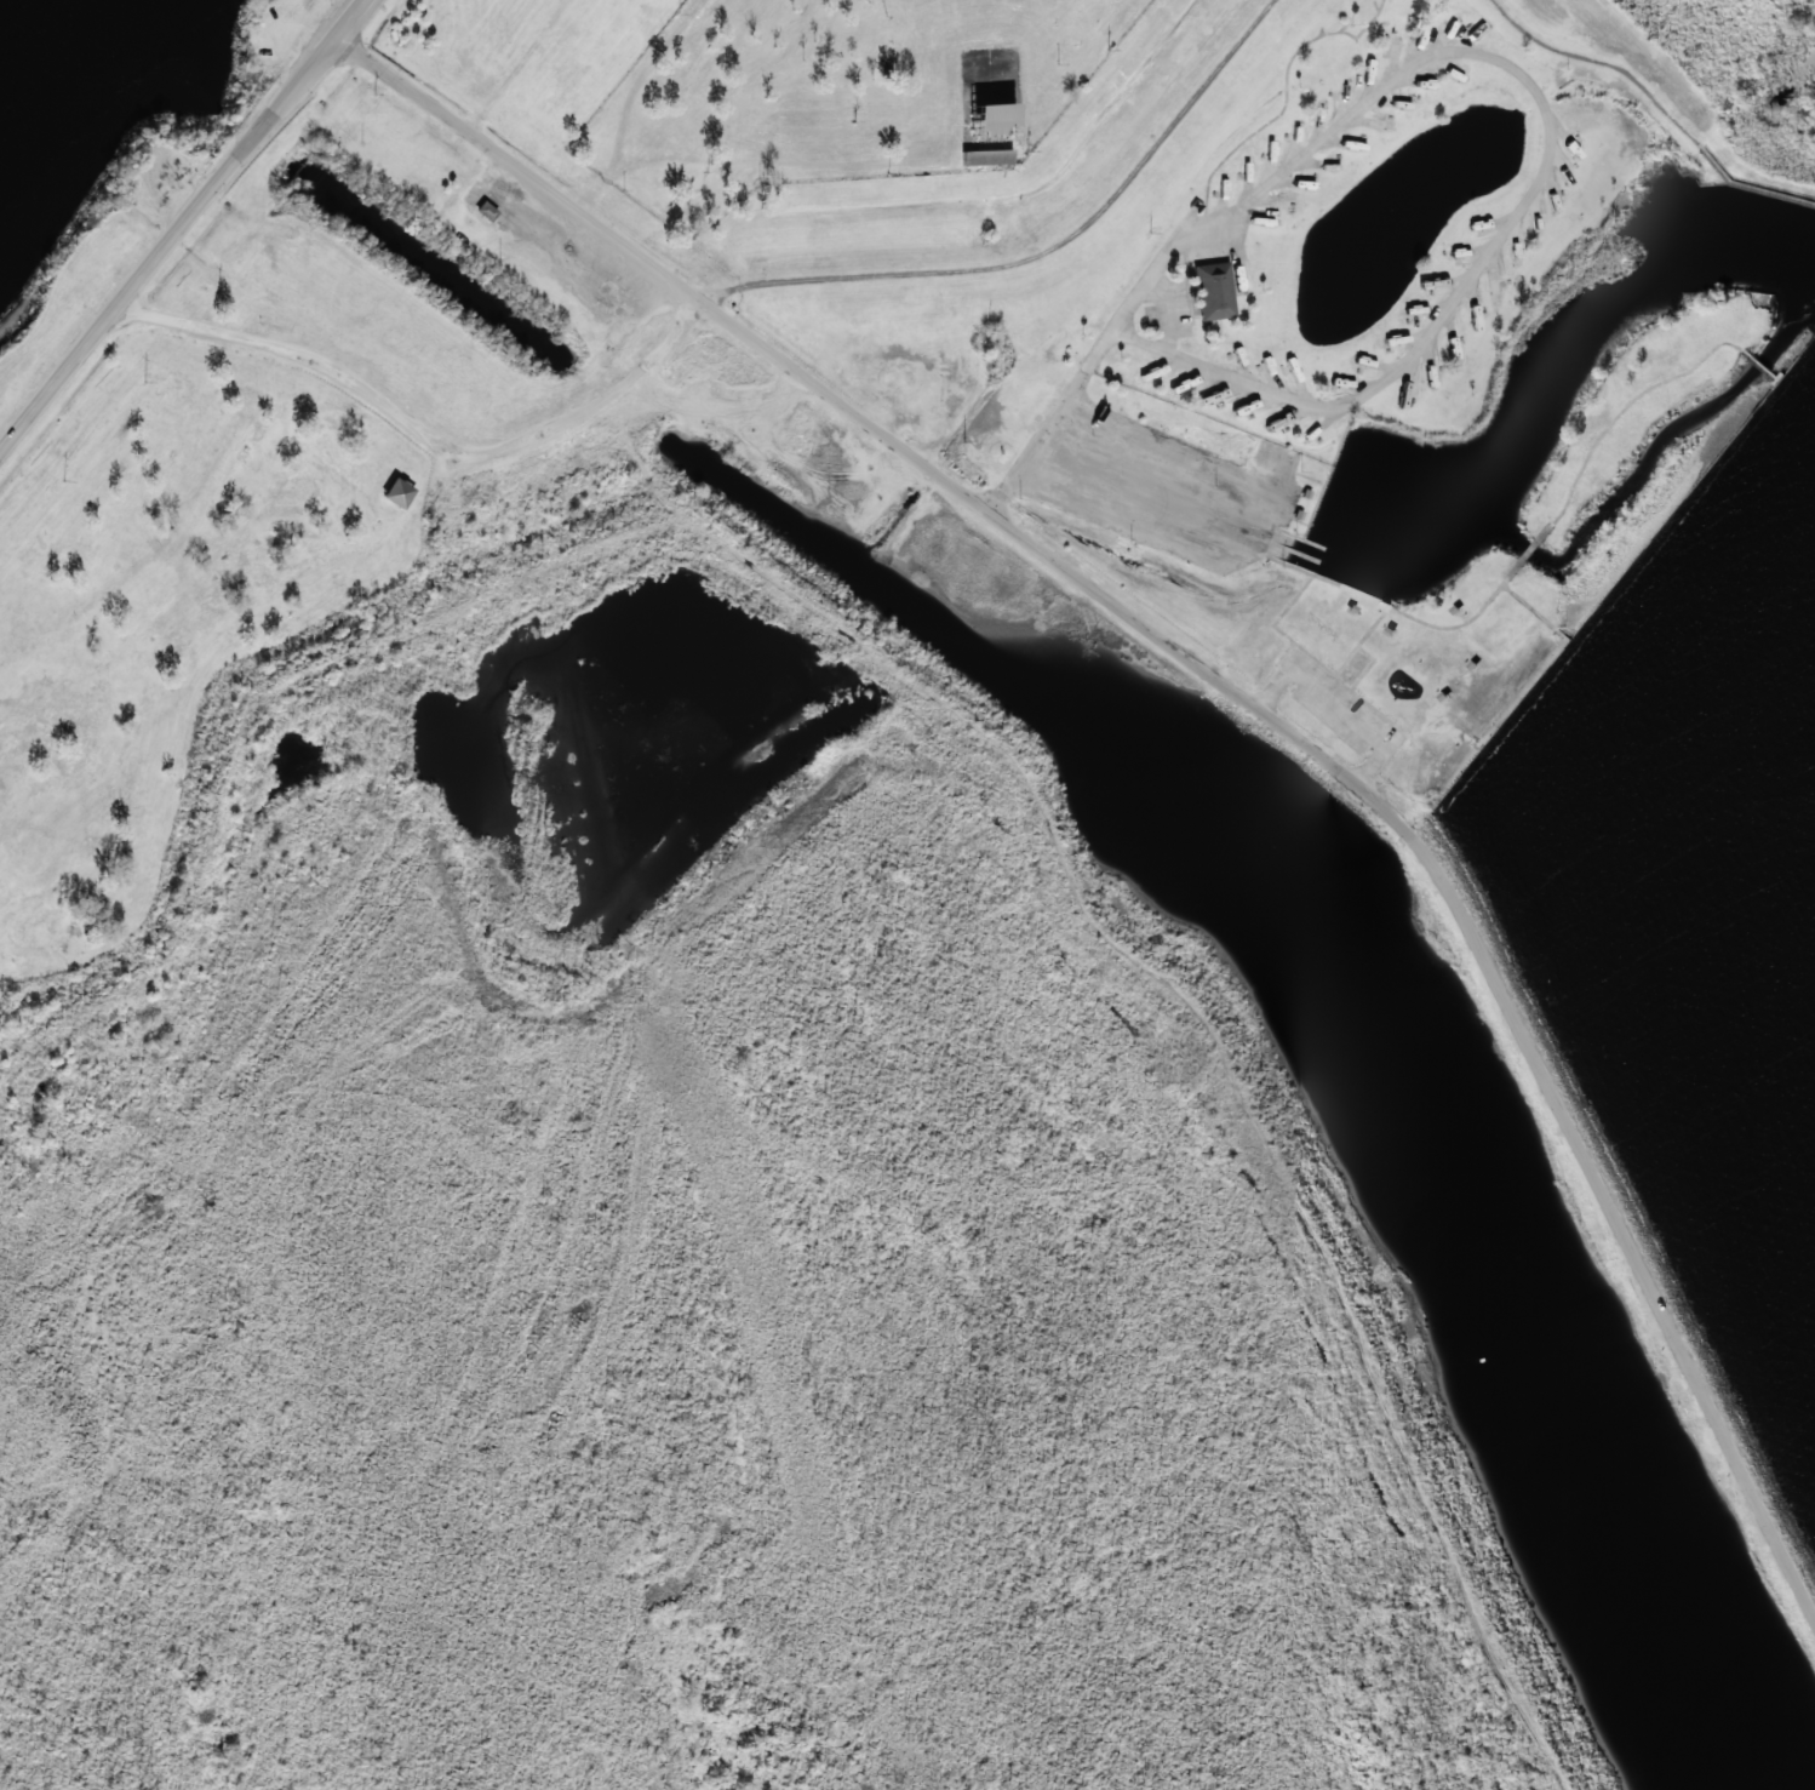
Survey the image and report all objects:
road: (1484, 57)
building: (991, 120)
building: (986, 158)
road: (182, 227)
road: (1037, 247)
building: (1213, 291)
road: (423, 434)
building: (397, 493)
road: (1236, 692)
road: (1439, 703)

